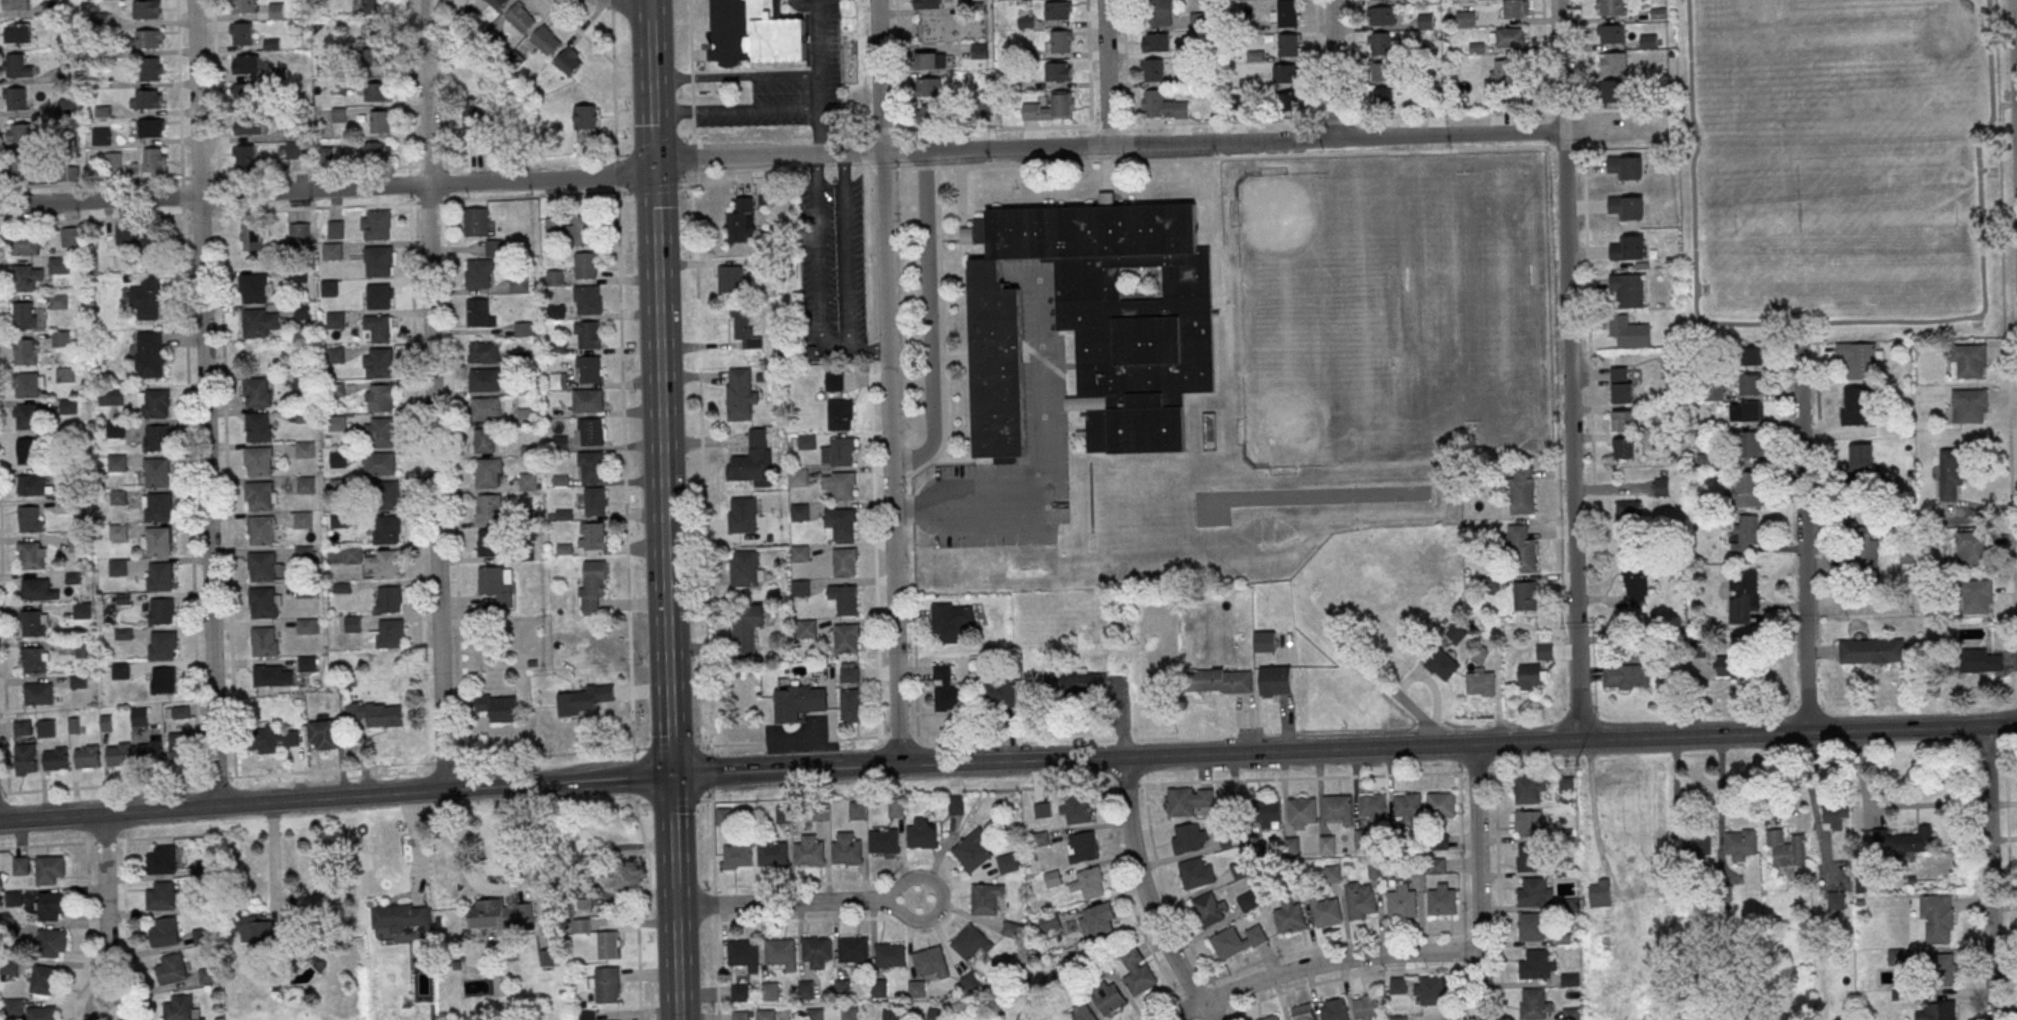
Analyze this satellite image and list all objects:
building: (497, 3)
building: (927, 4)
building: (15, 5)
building: (243, 6)
building: (373, 7)
building: (1611, 7)
building: (1515, 8)
building: (146, 9)
building: (1058, 10)
building: (276, 11)
building: (1161, 12)
building: (1288, 13)
building: (1382, 15)
building: (521, 17)
building: (1465, 17)
building: (1200, 19)
road: (649, 26)
building: (1612, 32)
building: (17, 33)
building: (756, 33)
building: (240, 34)
road: (2015, 34)
building: (926, 36)
building: (1507, 36)
road: (818, 37)
building: (148, 39)
building: (546, 40)
building: (1649, 40)
building: (1156, 41)
building: (1060, 42)
building: (1380, 43)
building: (1288, 44)
road: (1581, 55)
road: (1544, 56)
building: (374, 57)
road: (1316, 59)
road: (1353, 59)
building: (926, 60)
building: (1613, 60)
building: (570, 61)
building: (245, 64)
building: (324, 65)
building: (16, 66)
road: (898, 68)
building: (149, 69)
building: (1154, 69)
road: (1332, 69)
building: (1382, 70)
building: (1058, 71)
road: (1105, 72)
building: (1286, 73)
building: (1502, 74)
road: (735, 78)
road: (1125, 80)
road: (1089, 81)
building: (928, 88)
building: (1610, 90)
building: (377, 92)
road: (819, 92)
building: (242, 94)
building: (1381, 97)
building: (16, 98)
building: (145, 99)
building: (1289, 104)
building: (1163, 105)
road: (2013, 105)
building: (67, 106)
building: (1052, 108)
road: (2002, 108)
road: (651, 109)
road: (1622, 109)
road: (736, 112)
road: (1563, 112)
building: (929, 114)
road: (1452, 114)
road: (1336, 118)
road: (1997, 119)
building: (381, 121)
building: (476, 123)
building: (586, 123)
road: (1207, 123)
building: (247, 125)
building: (150, 128)
road: (692, 129)
road: (1618, 129)
road: (820, 132)
road: (881, 132)
road: (897, 132)
building: (19, 133)
road: (864, 134)
building: (100, 136)
road: (1563, 147)
building: (295, 150)
building: (377, 150)
road: (900, 150)
road: (864, 152)
building: (328, 154)
road: (780, 155)
building: (243, 156)
road: (1223, 158)
building: (154, 160)
traffic signals: (653, 165)
road: (901, 165)
building: (1626, 166)
building: (18, 167)
road: (864, 169)
road: (881, 169)
building: (67, 172)
building: (1627, 206)
building: (741, 221)
building: (476, 222)
building: (375, 225)
building: (335, 229)
building: (582, 230)
building: (298, 234)
building: (132, 235)
building: (251, 235)
building: (72, 237)
road: (655, 238)
building: (26, 244)
building: (494, 247)
building: (1628, 247)
building: (332, 251)
building: (378, 261)
building: (58, 265)
building: (585, 265)
building: (479, 274)
building: (26, 277)
building: (730, 278)
building: (519, 285)
building: (255, 288)
building: (329, 288)
building: (1627, 289)
building: (379, 296)
building: (147, 298)
building: (588, 300)
building: (58, 301)
road: (1587, 309)
building: (304, 311)
building: (480, 312)
building: (24, 314)
road: (930, 321)
building: (259, 322)
road: (1839, 322)
building: (1097, 323)
building: (744, 327)
building: (377, 328)
building: (523, 330)
building: (1629, 331)
building: (587, 335)
building: (60, 339)
road: (834, 348)
building: (25, 352)
building: (483, 352)
building: (149, 355)
building: (1752, 355)
building: (1859, 358)
building: (1968, 360)
building: (378, 363)
building: (589, 368)
road: (1570, 369)
building: (64, 374)
building: (485, 380)
building: (558, 381)
building: (834, 382)
road: (886, 382)
building: (1622, 384)
building: (1751, 384)
building: (29, 385)
building: (257, 392)
road: (433, 394)
building: (111, 395)
building: (741, 395)
building: (379, 398)
building: (588, 401)
building: (153, 403)
road: (204, 403)
building: (1854, 405)
building: (1969, 405)
building: (68, 406)
building: (487, 409)
building: (1746, 411)
building: (840, 414)
building: (25, 417)
building: (1623, 419)
building: (337, 423)
building: (258, 428)
building: (115, 429)
building: (591, 431)
building: (379, 432)
building: (155, 438)
building: (484, 441)
building: (560, 443)
building: (1751, 443)
building: (1624, 447)
building: (305, 449)
building: (27, 451)
building: (842, 451)
building: (1861, 457)
building: (338, 459)
building: (753, 460)
building: (1705, 460)
building: (258, 461)
building: (116, 463)
building: (379, 464)
building: (591, 465)
building: (1951, 470)
building: (156, 473)
building: (489, 473)
building: (798, 478)
road: (662, 480)
building: (528, 481)
building: (340, 484)
building: (33, 485)
building: (305, 485)
building: (840, 485)
road: (979, 485)
road: (1047, 486)
road: (1593, 487)
building: (1661, 487)
road: (1614, 488)
building: (1748, 488)
building: (1522, 490)
building: (387, 495)
building: (259, 496)
building: (118, 497)
building: (595, 501)
building: (63, 506)
building: (156, 507)
building: (490, 507)
building: (1629, 511)
road: (625, 512)
building: (799, 512)
building: (744, 516)
building: (30, 519)
building: (302, 520)
building: (339, 520)
building: (840, 524)
building: (386, 529)
building: (260, 531)
building: (1746, 532)
building: (592, 535)
road: (1807, 538)
building: (156, 541)
building: (488, 542)
building: (75, 543)
building: (1523, 547)
building: (1974, 547)
building: (1865, 548)
building: (304, 553)
building: (800, 553)
building: (352, 554)
building: (31, 555)
building: (845, 562)
building: (384, 564)
building: (261, 566)
building: (117, 568)
building: (745, 568)
building: (158, 576)
building: (1636, 579)
building: (592, 584)
building: (497, 585)
building: (800, 587)
building: (37, 590)
building: (1743, 594)
building: (1525, 595)
building: (1976, 596)
building: (388, 599)
building: (843, 599)
building: (262, 602)
building: (81, 611)
building: (160, 611)
building: (952, 621)
building: (33, 623)
building: (352, 624)
building: (307, 627)
building: (746, 627)
building: (807, 629)
building: (1456, 632)
building: (387, 635)
building: (846, 638)
building: (264, 641)
building: (1264, 641)
building: (161, 645)
building: (84, 649)
building: (1872, 650)
building: (1544, 651)
building: (1481, 654)
building: (1983, 659)
building: (35, 660)
building: (307, 663)
building: (1442, 664)
building: (1731, 665)
building: (120, 670)
building: (849, 672)
building: (272, 675)
building: (1626, 675)
building: (1530, 676)
building: (162, 680)
building: (1275, 680)
building: (1221, 681)
building: (1481, 681)
building: (1066, 687)
building: (946, 691)
building: (997, 693)
building: (38, 694)
building: (584, 699)
building: (798, 702)
building: (850, 705)
building: (498, 707)
building: (179, 712)
road: (668, 712)
building: (376, 714)
building: (139, 716)
building: (22, 728)
building: (323, 734)
road: (2004, 734)
building: (273, 739)
building: (181, 747)
building: (151, 752)
road: (2006, 752)
road: (1990, 753)
building: (118, 755)
building: (87, 756)
building: (26, 759)
building: (55, 759)
road: (458, 760)
road: (1007, 760)
traffic signals: (671, 776)
road: (1343, 776)
building: (1567, 784)
building: (1530, 789)
road: (1675, 792)
road: (1810, 792)
road: (1721, 797)
building: (1188, 799)
building: (1440, 804)
building: (956, 805)
building: (1372, 806)
building: (1407, 806)
building: (895, 807)
building: (1338, 808)
building: (857, 810)
building: (1042, 810)
building: (1075, 810)
building: (1266, 812)
building: (1301, 812)
building: (1836, 813)
building: (783, 814)
building: (723, 816)
building: (1528, 823)
building: (922, 833)
building: (1189, 836)
building: (1228, 837)
building: (1360, 837)
road: (672, 841)
building: (883, 841)
building: (1898, 842)
building: (1694, 843)
building: (1740, 843)
building: (1327, 844)
building: (1292, 845)
building: (1081, 847)
building: (1787, 847)
building: (809, 850)
building: (846, 850)
building: (972, 850)
building: (773, 854)
building: (737, 857)
building: (1527, 857)
road: (273, 859)
building: (161, 860)
building: (1008, 863)
building: (1436, 865)
building: (20, 866)
building: (202, 868)
building: (1241, 868)
building: (1196, 872)
building: (1332, 873)
road: (1988, 873)
road: (1498, 876)
building: (1052, 879)
building: (617, 880)
road: (1478, 881)
road: (2009, 881)
road: (714, 882)
building: (1089, 883)
road: (497, 886)
building: (1534, 891)
building: (1600, 892)
building: (160, 896)
road: (1145, 896)
building: (985, 898)
building: (13, 899)
building: (1361, 899)
building: (1442, 899)
building: (1247, 900)
building: (1402, 900)
building: (1835, 900)
road: (904, 901)
road: (780, 904)
building: (51, 906)
building: (1209, 908)
building: (1326, 909)
road: (106, 912)
building: (499, 915)
building: (1290, 916)
building: (1937, 917)
building: (400, 918)
building: (1097, 919)
building: (1049, 923)
building: (1531, 925)
building: (582, 926)
building: (261, 931)
building: (164, 932)
building: (202, 936)
building: (1237, 941)
building: (50, 942)
building: (971, 943)
building: (607, 944)
building: (816, 950)
building: (853, 950)
building: (782, 953)
building: (744, 954)
building: (890, 955)
road: (1974, 955)
building: (1897, 956)
building: (931, 962)
road: (675, 963)
road: (1321, 964)
building: (1538, 964)
building: (170, 969)
building: (1943, 969)
building: (1138, 973)
building: (208, 975)
building: (1570, 979)
building: (43, 980)
building: (607, 985)
building: (1398, 985)
building: (879, 988)
building: (916, 989)
building: (805, 990)
building: (1429, 990)
building: (770, 991)
building: (740, 993)
building: (1108, 998)
building: (1534, 1004)
building: (13, 1007)
building: (1366, 1007)
building: (179, 1008)
building: (1333, 1009)
building: (1937, 1010)
building: (1082, 1012)
building: (1303, 1012)
building: (41, 1013)
building: (849, 1013)
building: (1571, 1013)
building: (765, 1014)
building: (814, 1014)
building: (890, 1014)
building: (934, 1014)
building: (586, 1015)
building: (740, 1015)
building: (1270, 1017)
building: (1398, 1017)

